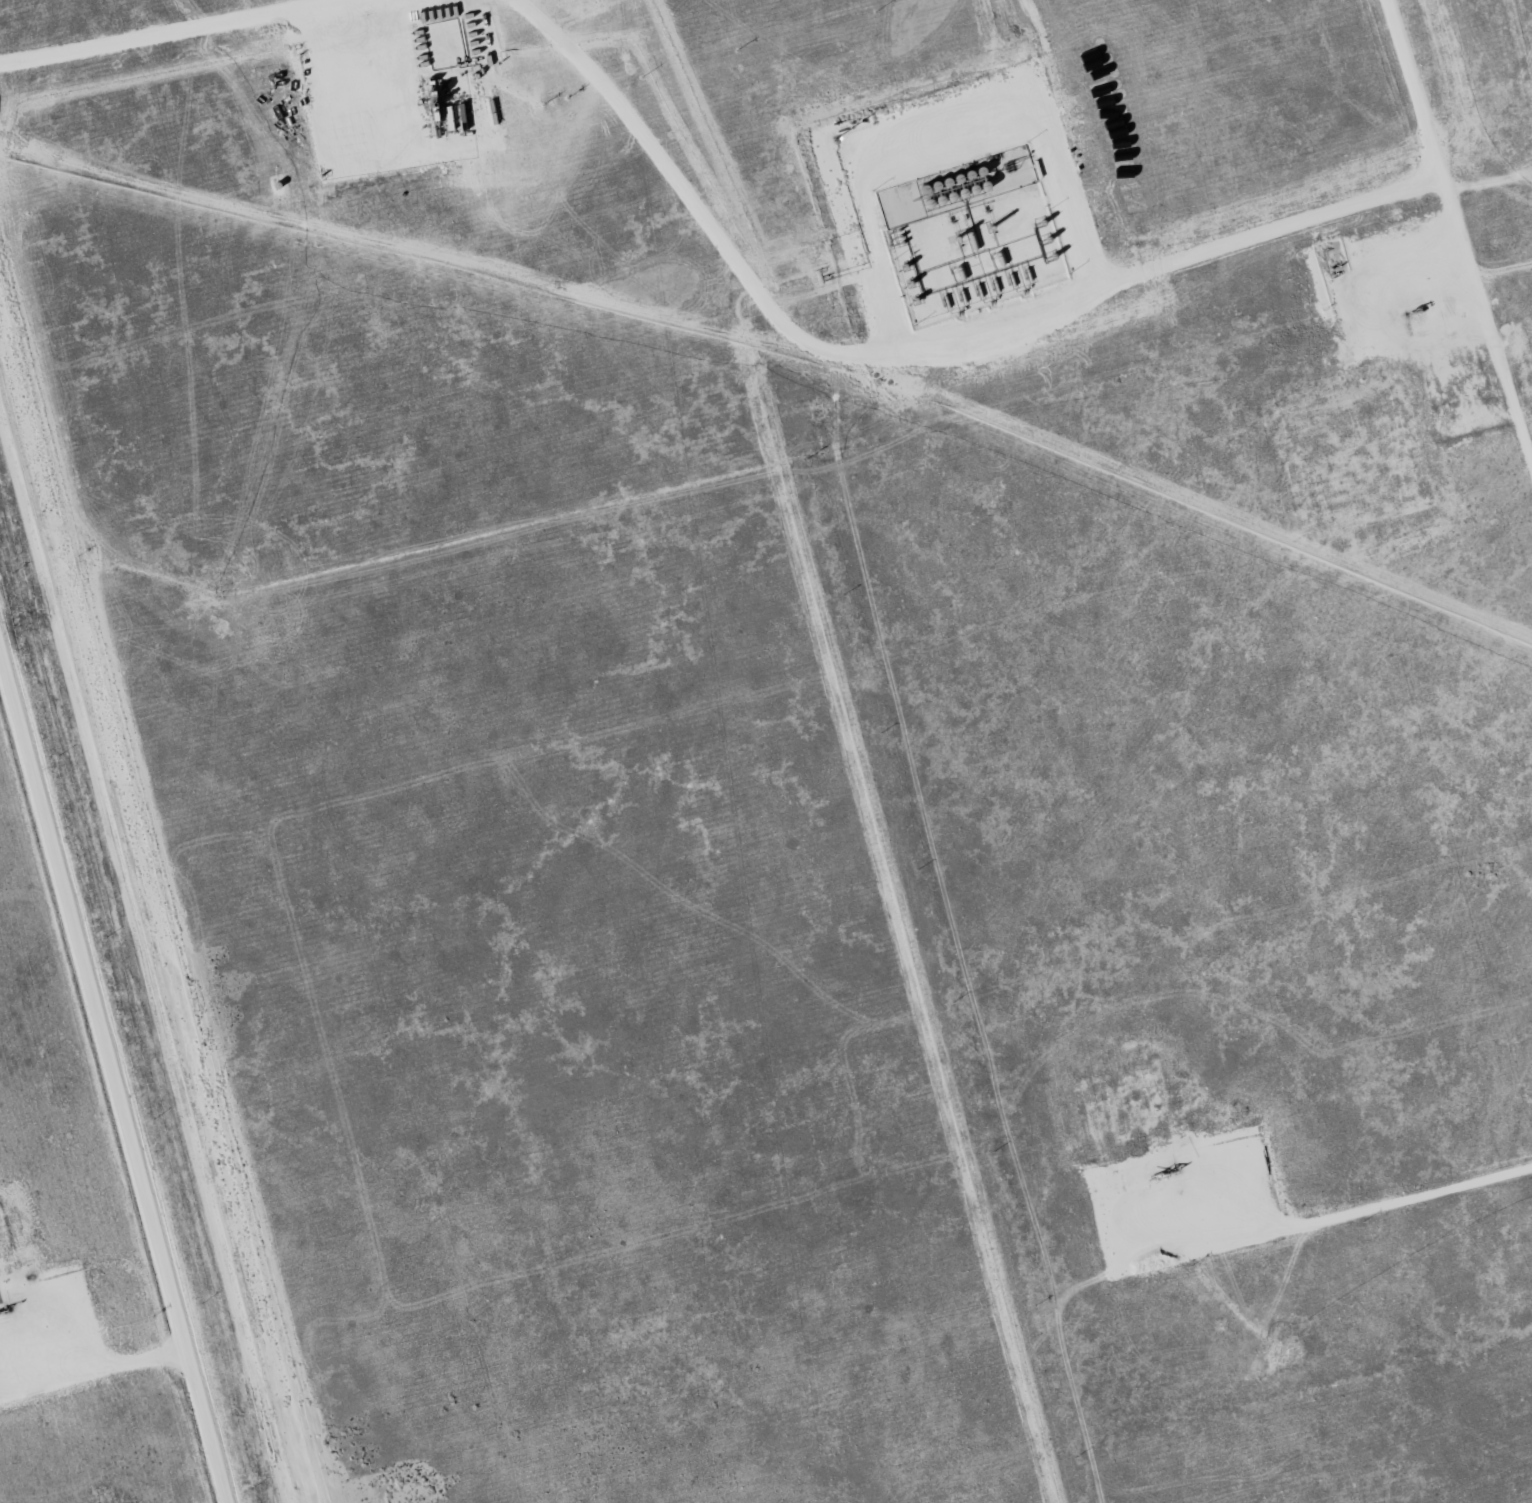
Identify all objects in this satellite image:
road: (118, 1065)

